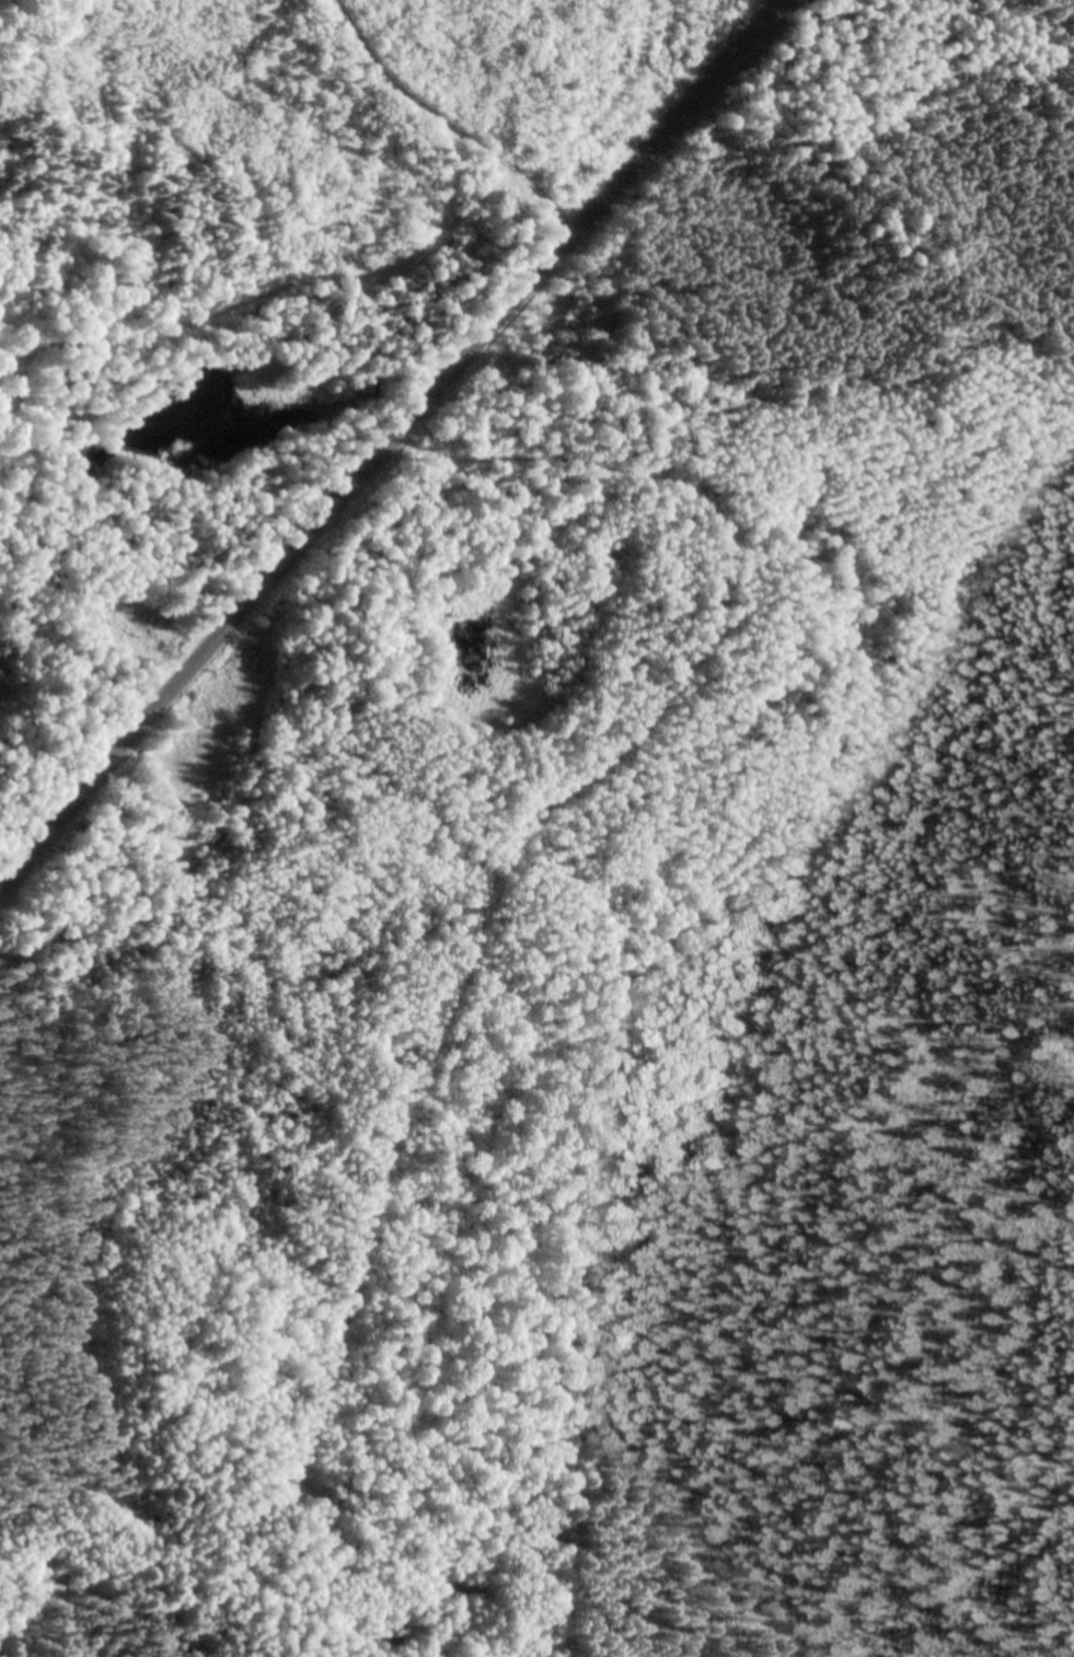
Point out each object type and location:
road: (407, 459)

